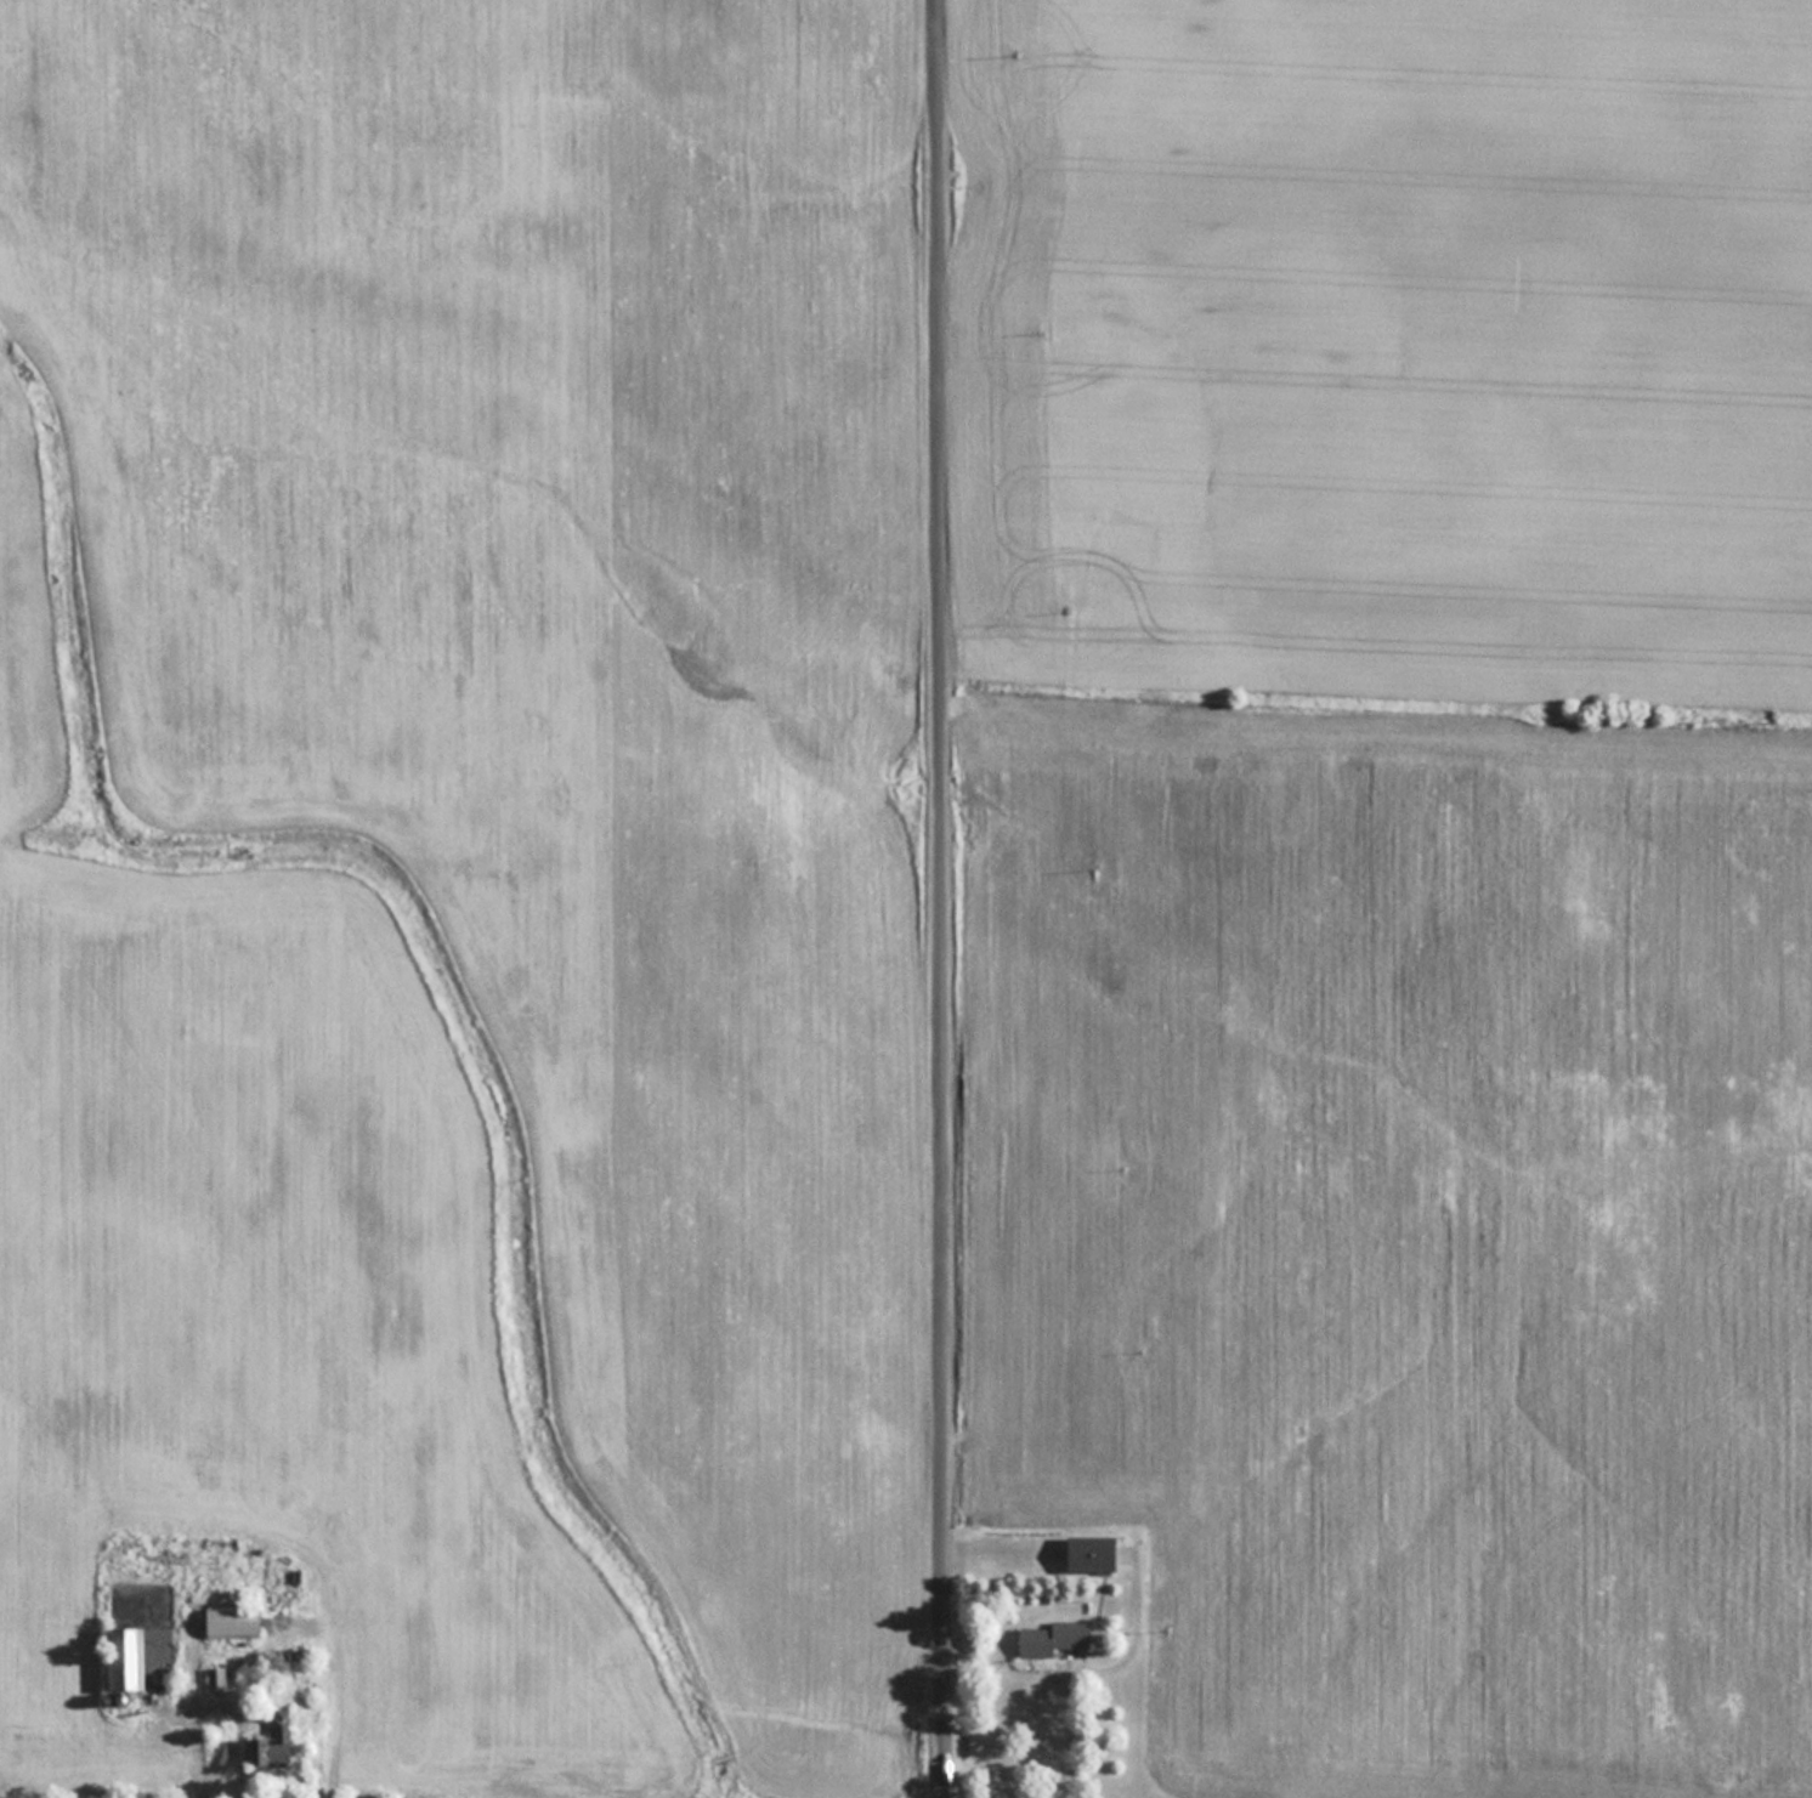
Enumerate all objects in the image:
road: (944, 898)
building: (1093, 1554)
building: (233, 1620)
building: (1053, 1637)
building: (125, 1658)
building: (273, 1742)

